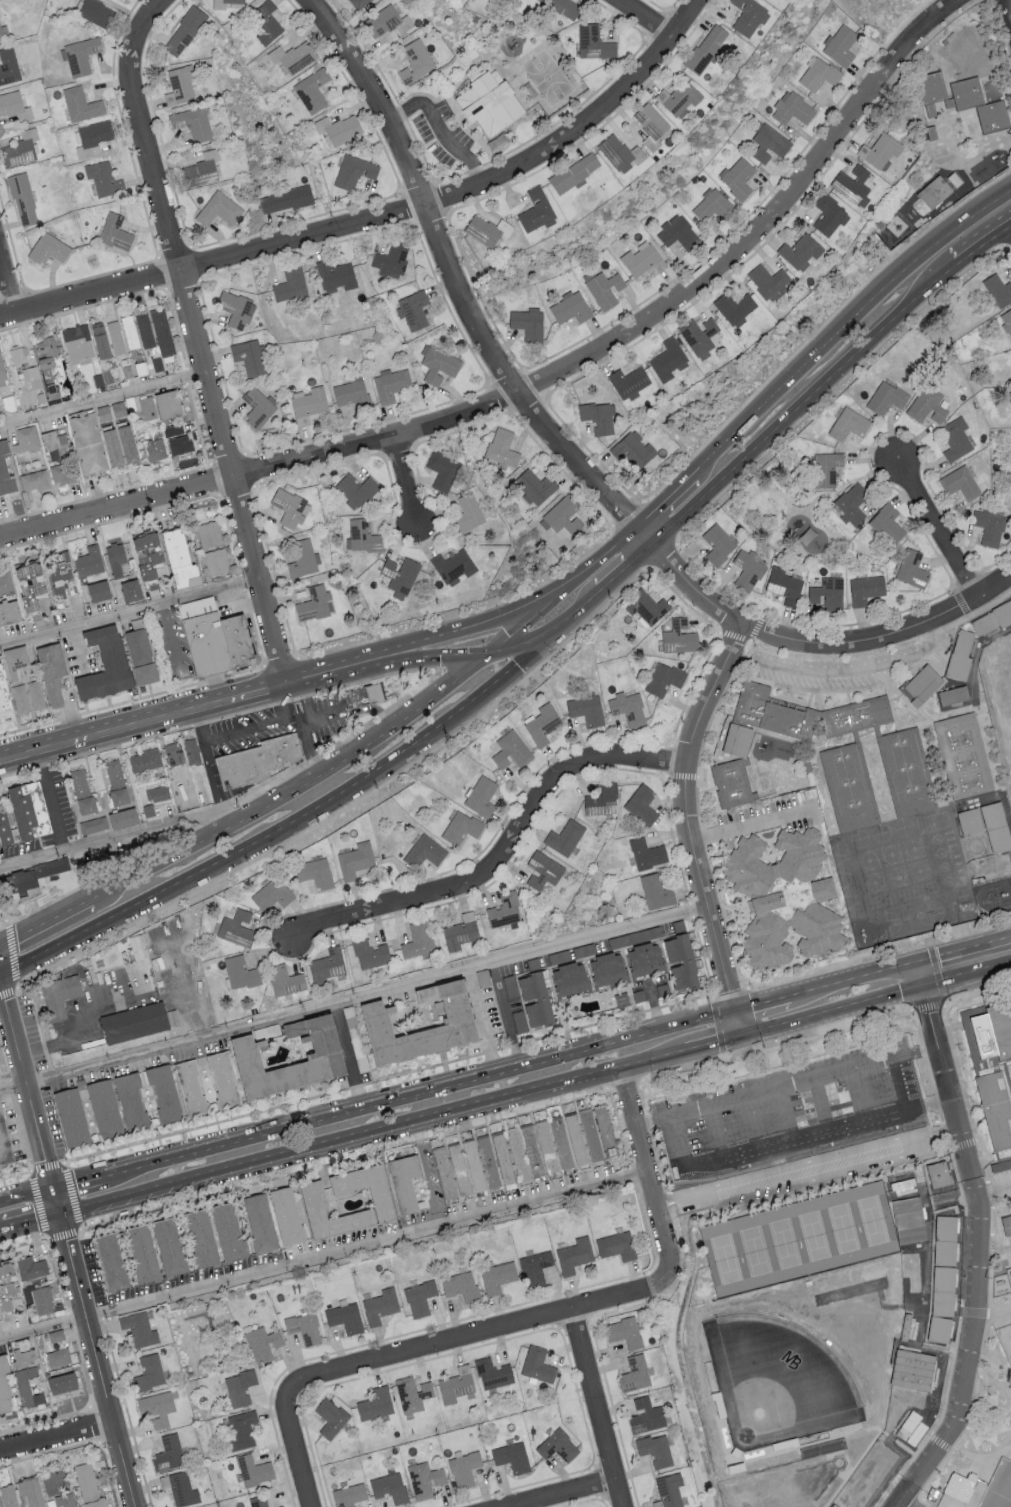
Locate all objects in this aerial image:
road: (1010, 2)
building: (223, 3)
building: (358, 3)
building: (564, 6)
building: (95, 12)
building: (748, 16)
road: (640, 19)
building: (264, 21)
building: (382, 21)
building: (184, 31)
building: (3, 32)
building: (593, 42)
building: (840, 45)
building: (705, 48)
building: (80, 55)
building: (293, 56)
building: (415, 61)
building: (8, 66)
building: (818, 74)
building: (180, 85)
building: (930, 87)
building: (312, 90)
building: (965, 93)
building: (678, 98)
building: (488, 102)
building: (81, 104)
building: (15, 105)
building: (792, 108)
building: (929, 110)
building: (991, 117)
building: (193, 123)
building: (651, 125)
road: (441, 127)
building: (339, 128)
building: (768, 143)
building: (20, 149)
building: (880, 150)
building: (619, 152)
building: (202, 169)
building: (354, 171)
building: (574, 172)
building: (737, 177)
building: (103, 178)
building: (851, 183)
building: (934, 191)
building: (22, 199)
building: (286, 199)
building: (711, 205)
building: (220, 209)
building: (535, 209)
building: (828, 214)
road: (380, 216)
building: (486, 229)
building: (115, 232)
building: (677, 233)
road: (983, 242)
road: (1007, 242)
road: (1007, 247)
building: (48, 248)
building: (799, 250)
building: (390, 259)
building: (641, 259)
building: (335, 274)
road: (453, 276)
building: (767, 281)
building: (290, 284)
road: (7, 286)
building: (603, 288)
building: (998, 290)
building: (733, 306)
building: (234, 308)
building: (570, 308)
building: (413, 309)
road: (846, 319)
building: (1006, 319)
building: (527, 323)
building: (144, 329)
road: (818, 329)
building: (129, 331)
building: (161, 331)
building: (698, 334)
building: (115, 337)
road: (200, 337)
building: (99, 340)
building: (77, 345)
building: (46, 347)
building: (18, 355)
building: (249, 356)
building: (668, 360)
building: (45, 362)
building: (157, 363)
building: (439, 364)
building: (1, 371)
road: (833, 376)
building: (32, 377)
road: (545, 381)
building: (628, 382)
building: (391, 385)
road: (833, 387)
building: (351, 394)
building: (887, 397)
road: (105, 402)
building: (310, 402)
building: (166, 404)
building: (927, 405)
building: (147, 407)
building: (257, 408)
building: (598, 417)
building: (848, 424)
road: (886, 431)
building: (956, 438)
building: (25, 439)
building: (177, 439)
building: (54, 444)
building: (87, 444)
building: (126, 444)
building: (155, 446)
building: (111, 448)
building: (502, 448)
building: (633, 449)
building: (825, 469)
building: (5, 471)
building: (62, 471)
building: (442, 471)
building: (35, 480)
road: (407, 481)
building: (960, 482)
building: (535, 486)
building: (356, 488)
road: (704, 492)
road: (667, 498)
building: (851, 503)
building: (288, 507)
building: (468, 512)
road: (626, 513)
building: (563, 515)
road: (676, 519)
building: (887, 524)
building: (989, 526)
road: (937, 529)
building: (208, 533)
road: (645, 534)
building: (363, 536)
building: (717, 544)
road: (609, 551)
road: (663, 555)
building: (115, 558)
building: (178, 558)
building: (302, 558)
road: (1000, 559)
building: (88, 560)
building: (216, 560)
building: (453, 565)
road: (626, 565)
building: (911, 569)
building: (747, 570)
building: (57, 574)
building: (400, 574)
road: (966, 579)
building: (5, 582)
road: (716, 585)
building: (784, 585)
building: (30, 586)
road: (568, 586)
road: (993, 586)
building: (97, 589)
building: (129, 589)
building: (865, 589)
building: (827, 594)
traffic signals: (555, 597)
road: (961, 602)
road: (238, 603)
building: (313, 603)
building: (646, 607)
road: (952, 608)
road: (979, 610)
building: (8, 611)
road: (467, 613)
road: (129, 614)
road: (568, 619)
road: (860, 622)
building: (994, 626)
road: (470, 628)
road: (522, 628)
road: (168, 630)
road: (776, 634)
building: (236, 635)
building: (679, 637)
building: (206, 640)
road: (748, 643)
building: (137, 645)
road: (78, 647)
traffic signals: (535, 650)
road: (511, 654)
road: (435, 658)
traffic signals: (487, 658)
building: (15, 660)
road: (281, 660)
building: (104, 662)
building: (962, 664)
parking lot: (841, 670)
building: (51, 671)
building: (145, 673)
road: (325, 673)
road: (847, 675)
building: (664, 678)
road: (389, 691)
road: (710, 692)
building: (924, 692)
park: (1000, 693)
building: (36, 694)
building: (367, 696)
building: (952, 696)
building: (5, 698)
building: (21, 698)
road: (132, 699)
building: (954, 705)
building: (627, 707)
building: (586, 709)
road: (354, 710)
road: (146, 720)
road: (207, 721)
road: (201, 723)
road: (259, 723)
building: (812, 723)
building: (542, 724)
road: (309, 728)
road: (614, 739)
building: (191, 750)
building: (511, 750)
road: (323, 752)
building: (173, 753)
road: (13, 755)
road: (668, 759)
building: (145, 760)
building: (257, 760)
building: (966, 764)
road: (214, 773)
road: (680, 775)
building: (115, 781)
building: (909, 781)
building: (81, 790)
building: (156, 793)
road: (291, 793)
building: (735, 794)
building: (852, 795)
building: (481, 796)
building: (601, 799)
road: (52, 800)
building: (641, 804)
road: (798, 806)
building: (27, 807)
building: (148, 809)
road: (216, 814)
building: (122, 817)
building: (93, 824)
building: (461, 826)
building: (4, 827)
road: (279, 831)
building: (989, 834)
road: (125, 836)
building: (564, 837)
building: (425, 851)
road: (774, 852)
building: (646, 853)
road: (500, 854)
building: (355, 859)
parking lot: (772, 863)
road: (717, 864)
building: (543, 869)
building: (314, 872)
building: (35, 874)
road: (102, 875)
building: (855, 875)
building: (655, 891)
building: (272, 893)
building: (784, 896)
road: (706, 899)
building: (504, 910)
road: (691, 911)
road: (2, 912)
road: (40, 922)
road: (744, 923)
building: (236, 927)
building: (460, 931)
building: (417, 939)
road: (732, 947)
road: (964, 948)
building: (369, 952)
building: (558, 956)
road: (12, 959)
building: (644, 959)
building: (679, 960)
road: (915, 961)
traffic signals: (912, 962)
building: (327, 964)
building: (607, 968)
building: (240, 972)
road: (915, 974)
road: (964, 974)
building: (568, 977)
road: (850, 978)
building: (285, 980)
building: (509, 985)
traffic signals: (919, 986)
building: (663, 989)
road: (941, 990)
building: (58, 995)
building: (638, 995)
road: (353, 996)
building: (534, 998)
road: (761, 1001)
road: (714, 1009)
traffic signals: (733, 1009)
road: (829, 1010)
building: (456, 1017)
road: (482, 1020)
building: (133, 1021)
building: (519, 1021)
building: (992, 1032)
traffic signals: (739, 1035)
road: (712, 1043)
building: (324, 1051)
road: (347, 1054)
road: (427, 1068)
building: (222, 1079)
road: (644, 1079)
road: (25, 1082)
road: (624, 1083)
road: (794, 1086)
building: (190, 1087)
road: (606, 1089)
road: (11, 1091)
building: (163, 1091)
road: (422, 1092)
building: (130, 1099)
road: (937, 1100)
road: (859, 1103)
building: (103, 1107)
building: (995, 1110)
road: (822, 1112)
parking lot: (792, 1113)
building: (70, 1116)
road: (787, 1122)
building: (604, 1130)
road: (753, 1130)
road: (373, 1131)
building: (591, 1134)
building: (576, 1139)
road: (717, 1140)
building: (3, 1145)
building: (547, 1146)
road: (25, 1149)
building: (532, 1149)
road: (677, 1150)
building: (518, 1153)
building: (503, 1157)
road: (343, 1160)
building: (488, 1160)
building: (473, 1164)
road: (807, 1166)
building: (459, 1168)
building: (444, 1171)
road: (984, 1171)
road: (426, 1173)
building: (938, 1176)
road: (81, 1178)
road: (650, 1180)
building: (404, 1181)
building: (904, 1184)
traffic signals: (52, 1185)
building: (365, 1187)
road: (26, 1192)
road: (56, 1198)
traffic signals: (60, 1211)
building: (360, 1212)
building: (285, 1215)
road: (31, 1218)
building: (258, 1222)
building: (908, 1222)
building: (1007, 1225)
road: (2, 1226)
building: (943, 1229)
building: (226, 1231)
road: (48, 1235)
building: (200, 1238)
park: (800, 1241)
road: (23, 1243)
building: (616, 1245)
building: (168, 1246)
building: (141, 1253)
road: (976, 1253)
building: (943, 1254)
building: (574, 1255)
road: (324, 1257)
building: (109, 1260)
building: (31, 1267)
building: (535, 1267)
building: (909, 1269)
building: (1010, 1270)
building: (873, 1273)
building: (497, 1276)
building: (849, 1279)
building: (942, 1280)
building: (460, 1285)
building: (825, 1286)
building: (7, 1290)
building: (907, 1292)
building: (419, 1297)
building: (42, 1300)
building: (380, 1305)
building: (941, 1305)
building: (345, 1317)
building: (304, 1327)
building: (138, 1328)
building: (907, 1328)
building: (623, 1331)
building: (939, 1331)
road: (478, 1334)
building: (56, 1335)
building: (262, 1343)
road: (969, 1347)
building: (22, 1357)
building: (58, 1357)
road: (96, 1359)
building: (537, 1364)
building: (913, 1371)
building: (148, 1372)
building: (492, 1372)
building: (634, 1373)
building: (61, 1383)
park: (779, 1383)
building: (456, 1384)
building: (27, 1386)
building: (240, 1387)
building: (4, 1388)
building: (412, 1393)
building: (375, 1404)
building: (156, 1407)
road: (596, 1408)
building: (645, 1415)
building: (330, 1417)
building: (910, 1425)
road: (1009, 1426)
building: (240, 1429)
road: (56, 1437)
road: (293, 1438)
building: (784, 1444)
building: (557, 1445)
building: (655, 1449)
building: (168, 1452)
building: (512, 1456)
road: (987, 1457)
building: (871, 1460)
building: (464, 1468)
building: (254, 1470)
building: (55, 1478)
building: (424, 1479)
building: (88, 1486)
building: (389, 1487)
track: (1000, 1487)
track: (1000, 1487)
building: (179, 1488)
building: (962, 1488)
building: (668, 1490)
building: (30, 1491)
building: (348, 1494)
road: (567, 1494)
building: (8, 1495)
building: (864, 1499)
building: (63, 1500)
building: (258, 1501)
building: (0, 1504)
parking lot: (920, 1504)
building: (279, 1506)
building: (836, 1506)

